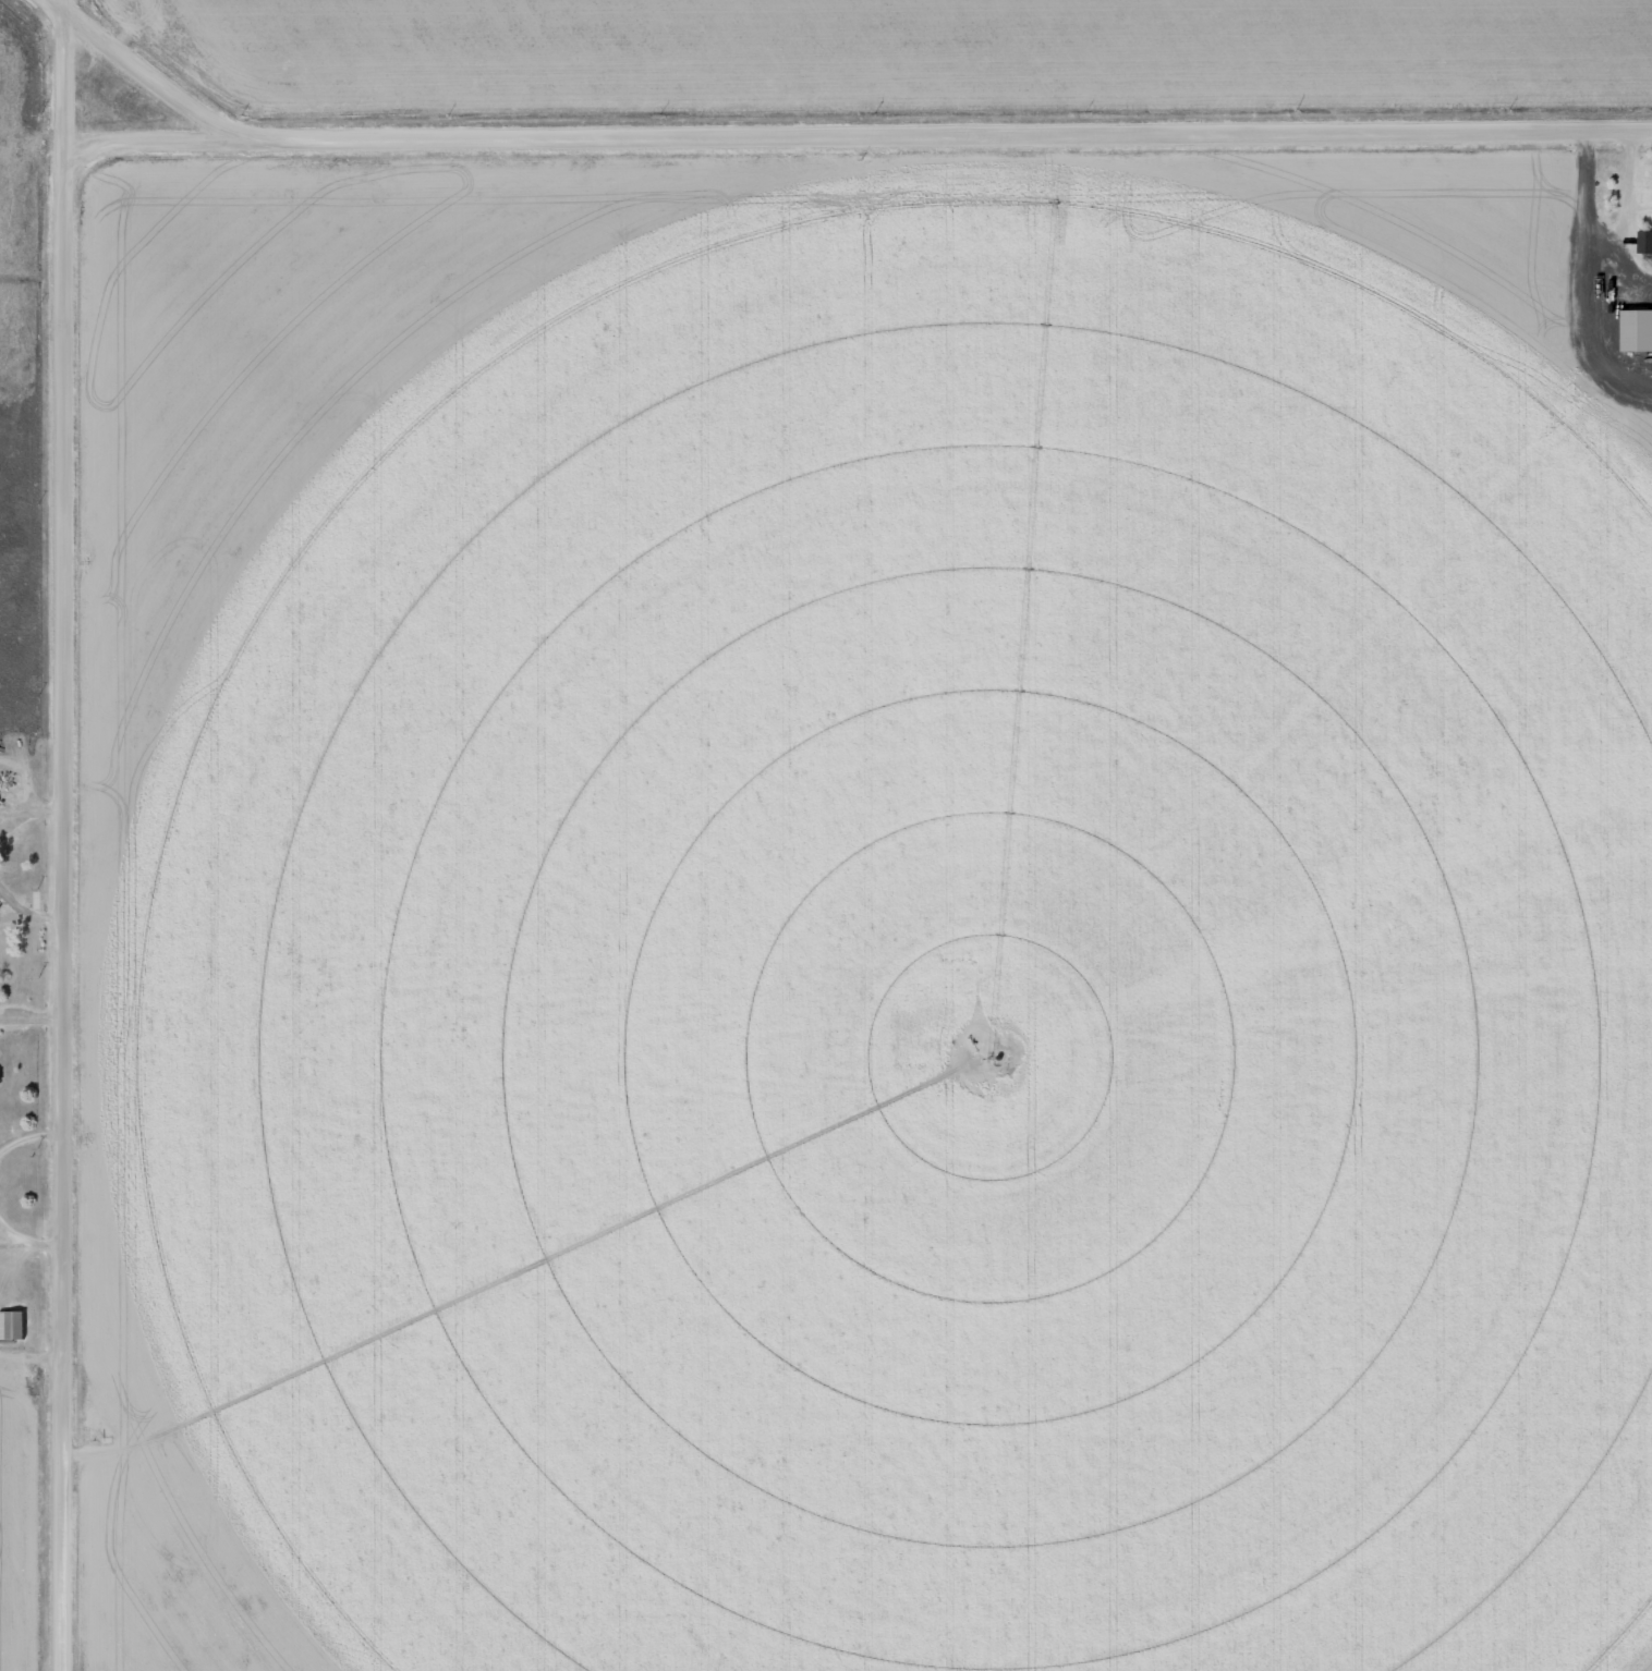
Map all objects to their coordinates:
road: (826, 135)
road: (151, 141)
road: (64, 834)

